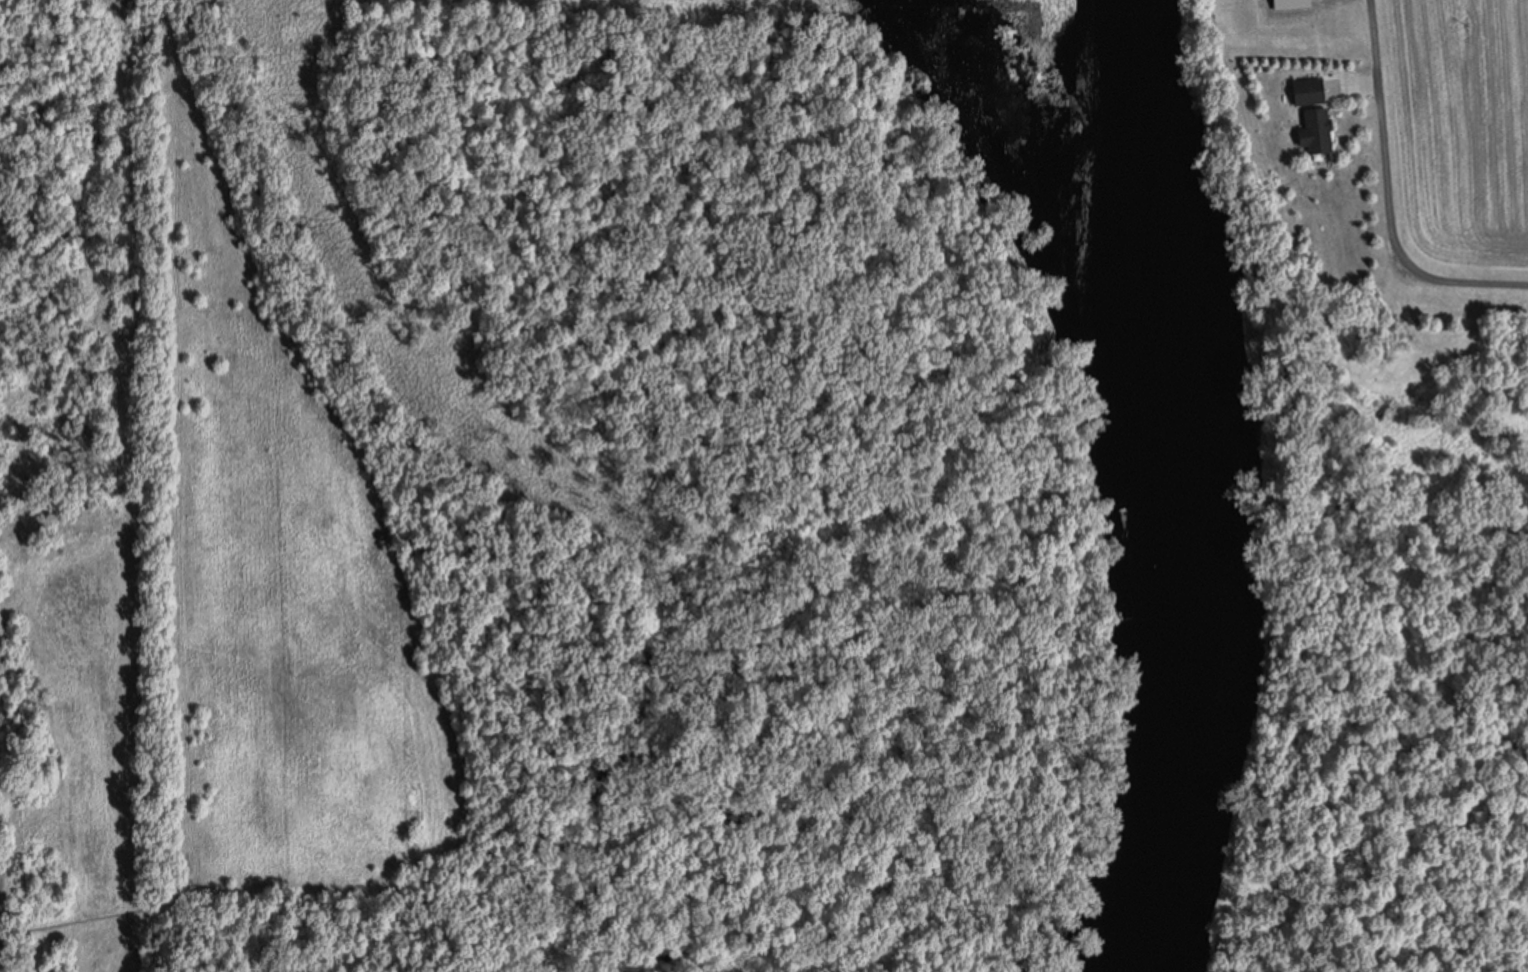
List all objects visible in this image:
building: (1312, 90)
building: (1321, 131)
crop: (1457, 135)
road: (1389, 194)
river: (1177, 485)
crop: (1, 946)

